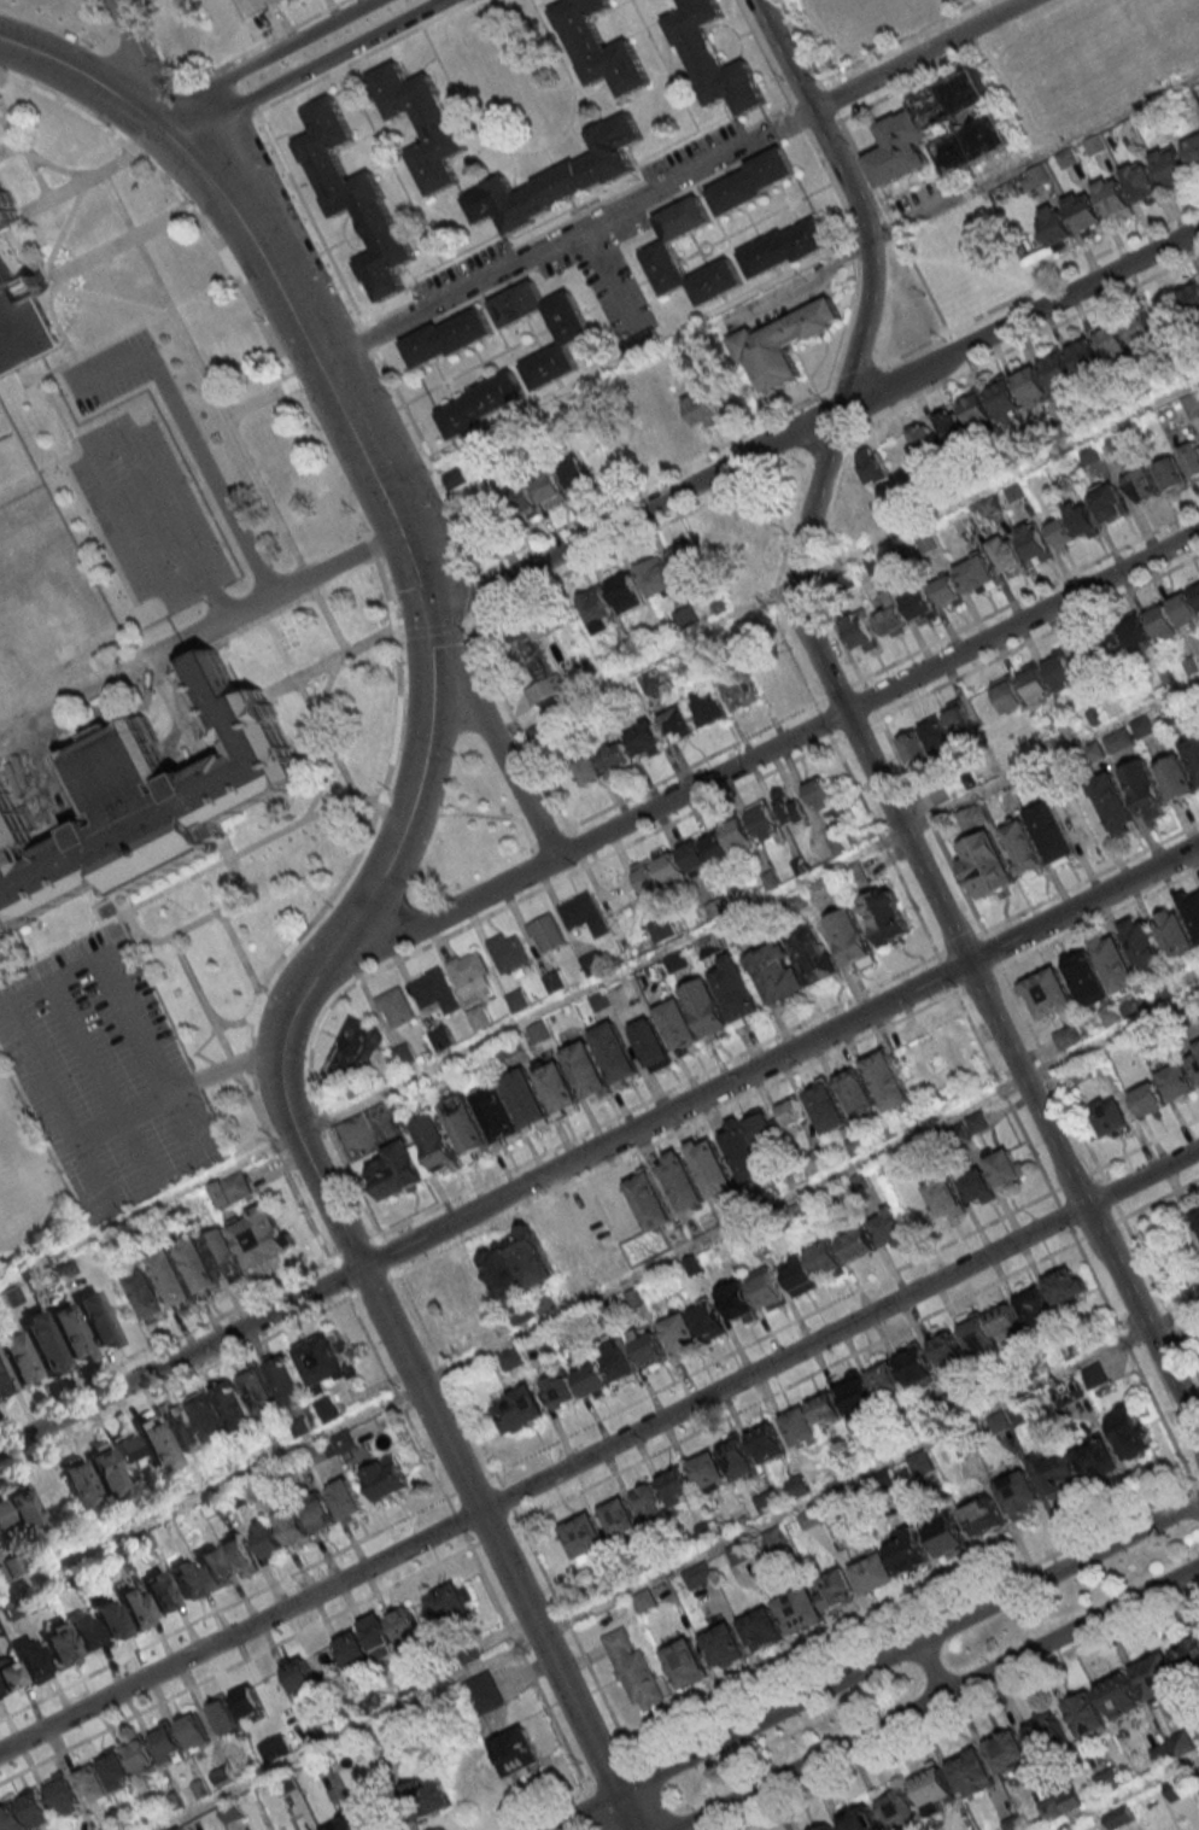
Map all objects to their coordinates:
building: (277, 0)
building: (186, 34)
road: (152, 45)
road: (263, 45)
road: (281, 47)
building: (601, 48)
road: (920, 55)
road: (365, 57)
building: (712, 59)
road: (324, 63)
road: (136, 66)
road: (4, 77)
road: (88, 81)
road: (252, 105)
road: (156, 116)
building: (967, 123)
road: (185, 124)
building: (422, 125)
building: (1094, 145)
building: (899, 151)
building: (1194, 152)
parking lot: (690, 156)
road: (1033, 158)
road: (37, 159)
building: (1171, 169)
building: (560, 181)
road: (81, 183)
building: (751, 183)
building: (1142, 185)
building: (355, 199)
building: (1113, 199)
road: (573, 207)
building: (1084, 214)
road: (578, 217)
road: (203, 224)
road: (894, 228)
building: (1057, 228)
road: (502, 238)
road: (121, 241)
road: (344, 241)
road: (321, 244)
road: (507, 246)
road: (331, 249)
building: (785, 250)
road: (540, 251)
building: (662, 251)
road: (294, 265)
parking lot: (462, 276)
road: (807, 283)
road: (55, 285)
road: (1041, 285)
road: (419, 294)
building: (19, 303)
building: (1182, 303)
building: (1140, 327)
building: (449, 340)
building: (573, 341)
road: (1024, 341)
building: (639, 343)
building: (783, 345)
building: (1098, 351)
road: (961, 353)
road: (321, 366)
parking lot: (106, 368)
road: (200, 369)
building: (1058, 370)
road: (858, 379)
building: (1031, 385)
road: (45, 387)
road: (872, 396)
building: (1005, 398)
building: (1192, 403)
building: (482, 407)
building: (702, 408)
building: (977, 409)
road: (813, 425)
building: (952, 425)
building: (660, 432)
building: (923, 438)
road: (830, 440)
road: (195, 446)
building: (625, 451)
building: (1192, 458)
road: (89, 464)
building: (872, 464)
building: (575, 474)
building: (1171, 474)
building: (454, 476)
road: (657, 480)
building: (1140, 483)
road: (817, 484)
building: (549, 489)
building: (1107, 502)
building: (504, 510)
parking lot: (150, 513)
building: (963, 518)
building: (1082, 519)
building: (747, 526)
building: (1060, 532)
road: (638, 539)
building: (714, 543)
building: (926, 543)
building: (1034, 543)
road: (373, 554)
building: (1007, 554)
building: (685, 559)
road: (847, 560)
road: (306, 575)
building: (656, 577)
road: (217, 592)
road: (386, 592)
road: (474, 592)
building: (627, 592)
road: (1024, 597)
building: (1186, 604)
building: (598, 610)
building: (891, 614)
road: (331, 620)
building: (1163, 620)
traffic signals: (429, 621)
road: (434, 630)
road: (200, 632)
building: (861, 632)
road: (397, 636)
road: (1034, 639)
building: (1124, 639)
building: (536, 656)
road: (339, 657)
building: (1061, 671)
building: (770, 676)
building: (650, 680)
building: (1035, 685)
building: (741, 692)
road: (837, 694)
building: (1007, 695)
building: (709, 704)
building: (678, 723)
building: (961, 723)
road: (519, 725)
road: (856, 729)
building: (538, 735)
road: (496, 737)
building: (647, 737)
building: (1118, 741)
building: (926, 743)
road: (778, 744)
road: (332, 749)
building: (1193, 750)
building: (614, 758)
road: (694, 766)
building: (589, 768)
building: (1176, 777)
building: (1145, 790)
building: (820, 793)
building: (148, 802)
building: (789, 805)
building: (1112, 805)
building: (766, 824)
building: (1052, 835)
road: (546, 838)
road: (583, 844)
building: (718, 846)
road: (353, 858)
building: (987, 866)
building: (669, 867)
building: (856, 876)
road: (192, 878)
building: (648, 878)
road: (1092, 878)
building: (821, 888)
building: (584, 913)
building: (888, 916)
road: (1100, 919)
road: (470, 925)
building: (1180, 926)
building: (661, 929)
building: (546, 932)
building: (852, 937)
road: (964, 943)
road: (329, 948)
building: (508, 951)
road: (992, 951)
building: (1146, 954)
building: (795, 966)
building: (1117, 967)
building: (470, 969)
building: (554, 981)
road: (599, 986)
building: (738, 990)
building: (435, 992)
building: (1048, 994)
building: (517, 1000)
building: (396, 1006)
building: (707, 1006)
building: (1110, 1015)
building: (479, 1016)
road: (8, 1021)
building: (678, 1024)
building: (538, 1031)
building: (1066, 1036)
building: (440, 1037)
building: (651, 1043)
building: (353, 1050)
building: (616, 1054)
road: (778, 1056)
road: (252, 1059)
building: (1195, 1059)
building: (396, 1062)
road: (1049, 1069)
building: (587, 1070)
parking lot: (107, 1072)
road: (104, 1078)
building: (888, 1078)
building: (1177, 1081)
road: (255, 1082)
road: (1024, 1084)
building: (560, 1088)
building: (856, 1092)
road: (661, 1095)
building: (1148, 1098)
building: (528, 1100)
building: (826, 1106)
building: (790, 1111)
road: (259, 1112)
building: (498, 1113)
building: (1111, 1115)
road: (121, 1119)
building: (977, 1122)
building: (467, 1128)
building: (761, 1128)
building: (438, 1145)
road: (1148, 1145)
building: (742, 1151)
building: (710, 1165)
building: (1005, 1167)
building: (400, 1169)
road: (1094, 1171)
building: (682, 1181)
road: (1074, 1181)
building: (977, 1186)
building: (232, 1191)
road: (1111, 1194)
building: (944, 1198)
road: (300, 1200)
building: (649, 1200)
road: (1118, 1218)
building: (1195, 1218)
building: (889, 1227)
road: (1098, 1227)
building: (593, 1229)
building: (258, 1235)
building: (856, 1243)
building: (545, 1249)
building: (226, 1253)
road: (386, 1256)
building: (826, 1258)
road: (1142, 1261)
building: (197, 1265)
building: (501, 1273)
building: (799, 1275)
building: (172, 1278)
road: (339, 1279)
building: (1066, 1285)
building: (765, 1287)
building: (146, 1292)
road: (597, 1292)
building: (458, 1297)
building: (737, 1302)
building: (1035, 1305)
road: (1145, 1315)
building: (93, 1316)
building: (1005, 1322)
building: (692, 1327)
building: (66, 1331)
road: (771, 1334)
building: (978, 1337)
road: (368, 1340)
building: (41, 1341)
building: (648, 1347)
building: (948, 1347)
building: (16, 1357)
road: (179, 1358)
building: (323, 1360)
building: (510, 1360)
building: (618, 1360)
building: (901, 1373)
building: (591, 1378)
road: (448, 1379)
road: (796, 1379)
building: (4, 1380)
building: (287, 1381)
road: (176, 1384)
building: (560, 1390)
building: (259, 1391)
building: (855, 1395)
road: (396, 1398)
building: (234, 1405)
building: (517, 1408)
building: (825, 1408)
building: (209, 1419)
building: (797, 1425)
building: (180, 1426)
building: (1129, 1432)
building: (766, 1442)
building: (344, 1443)
building: (157, 1446)
building: (125, 1448)
road: (598, 1450)
building: (737, 1456)
road: (426, 1457)
building: (1095, 1458)
building: (1053, 1468)
building: (707, 1469)
building: (105, 1472)
building: (385, 1478)
building: (78, 1485)
road: (469, 1485)
building: (796, 1485)
building: (677, 1486)
building: (1019, 1495)
building: (344, 1497)
road: (507, 1499)
building: (647, 1499)
building: (766, 1501)
building: (831, 1508)
building: (318, 1510)
building: (23, 1514)
building: (616, 1515)
building: (984, 1516)
building: (809, 1519)
road: (456, 1521)
building: (292, 1524)
building: (707, 1531)
building: (168, 1532)
road: (493, 1532)
building: (947, 1536)
building: (267, 1537)
building: (583, 1537)
building: (774, 1537)
road: (496, 1549)
building: (236, 1551)
building: (907, 1551)
building: (211, 1565)
road: (674, 1567)
building: (11, 1571)
building: (875, 1572)
building: (695, 1577)
building: (186, 1580)
building: (834, 1589)
building: (158, 1591)
building: (448, 1602)
building: (133, 1603)
building: (23, 1607)
road: (227, 1607)
building: (799, 1609)
building: (106, 1616)
building: (405, 1625)
road: (918, 1625)
building: (760, 1629)
building: (81, 1630)
building: (378, 1636)
road: (575, 1638)
building: (57, 1642)
building: (724, 1647)
building: (351, 1649)
building: (1187, 1655)
building: (28, 1656)
road: (239, 1660)
road: (525, 1661)
building: (685, 1664)
road: (870, 1664)
road: (929, 1667)
building: (633, 1671)
building: (299, 1674)
building: (1157, 1676)
building: (8, 1677)
building: (273, 1686)
building: (484, 1694)
building: (1119, 1695)
road: (935, 1697)
building: (246, 1701)
road: (957, 1708)
building: (222, 1713)
building: (1086, 1713)
building: (194, 1731)
building: (1047, 1731)
building: (168, 1744)
building: (1007, 1749)
building: (515, 1750)
building: (141, 1756)
building: (116, 1771)
building: (971, 1772)
road: (613, 1779)
building: (93, 1783)
building: (935, 1790)
building: (60, 1791)
road: (1125, 1793)
building: (419, 1799)
road: (653, 1799)
building: (35, 1806)
road: (597, 1809)
building: (900, 1809)
building: (230, 1811)
road: (549, 1811)
building: (13, 1818)
building: (859, 1818)
building: (343, 1823)
building: (826, 1826)
building: (175, 1828)

